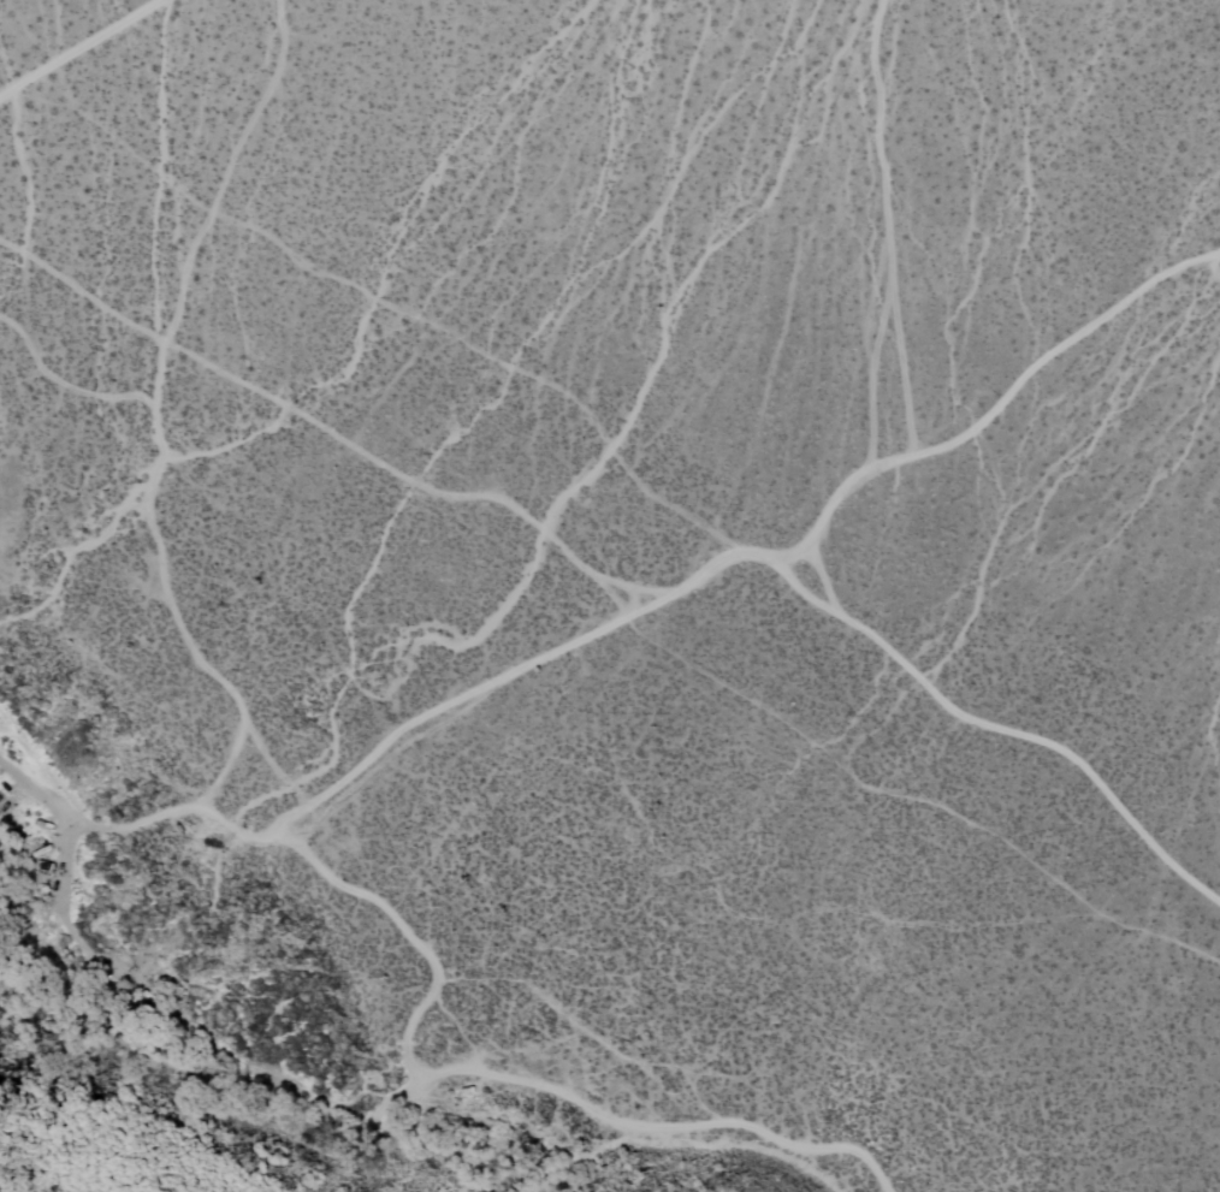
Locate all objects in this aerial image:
river: (91, 1146)

